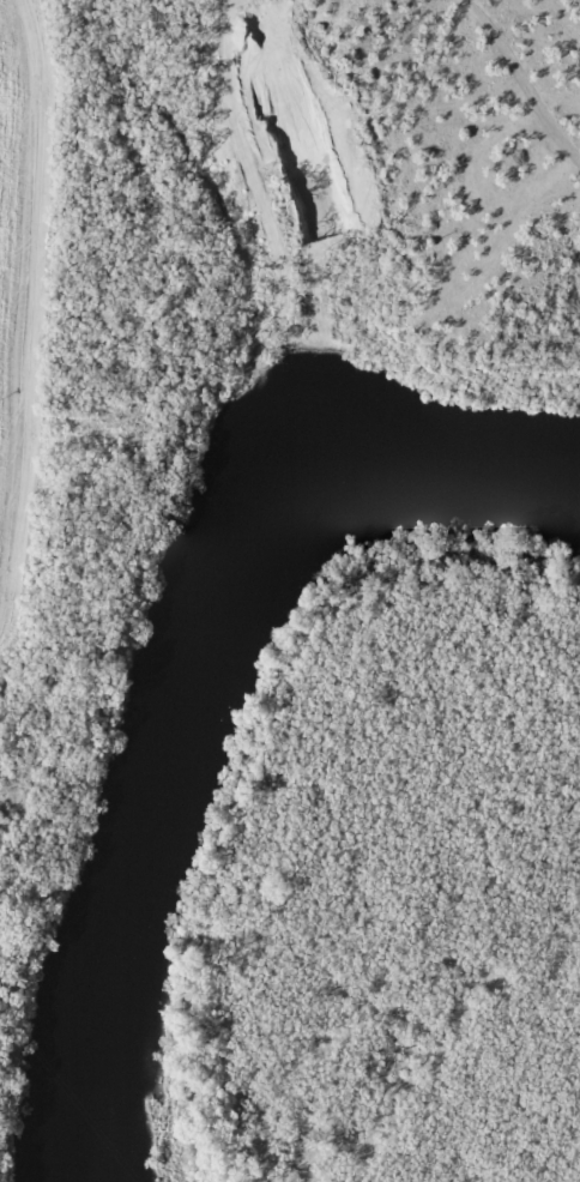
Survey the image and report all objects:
road: (471, 143)
river: (189, 663)

